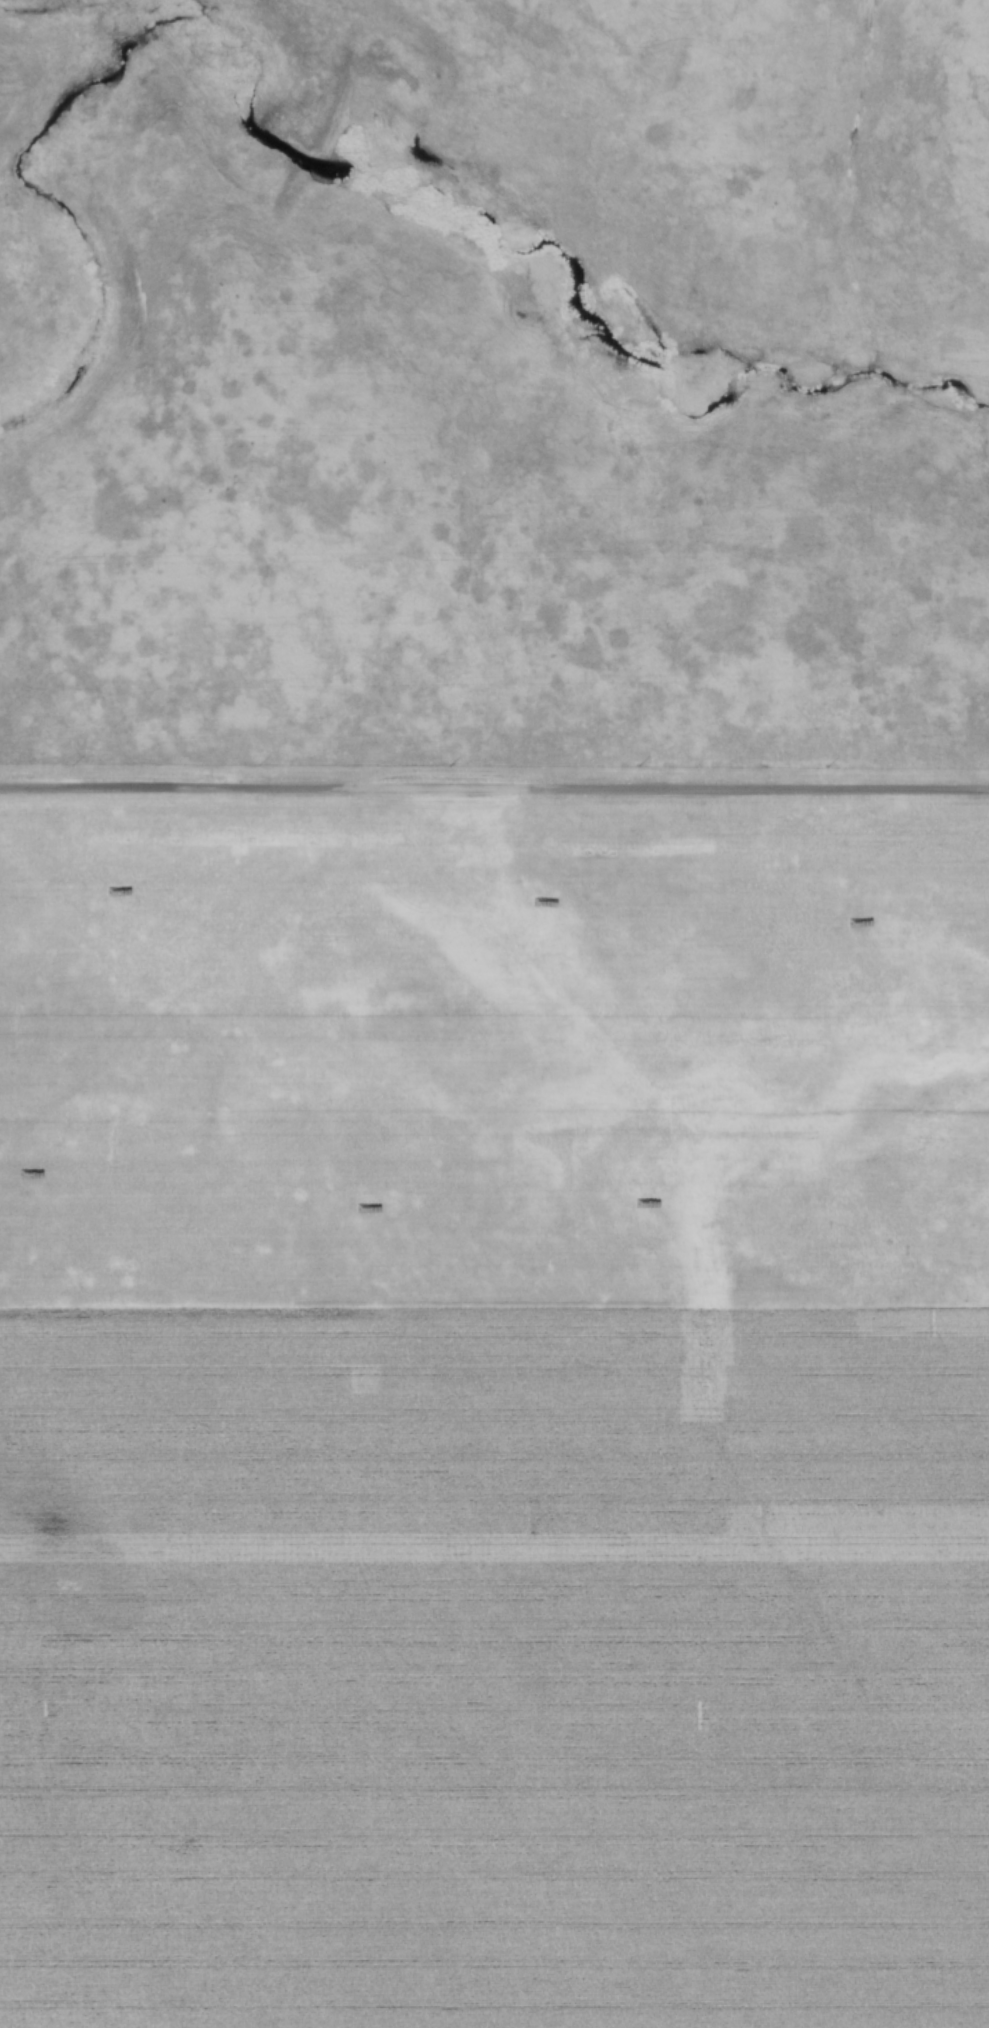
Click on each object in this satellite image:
road: (494, 797)

